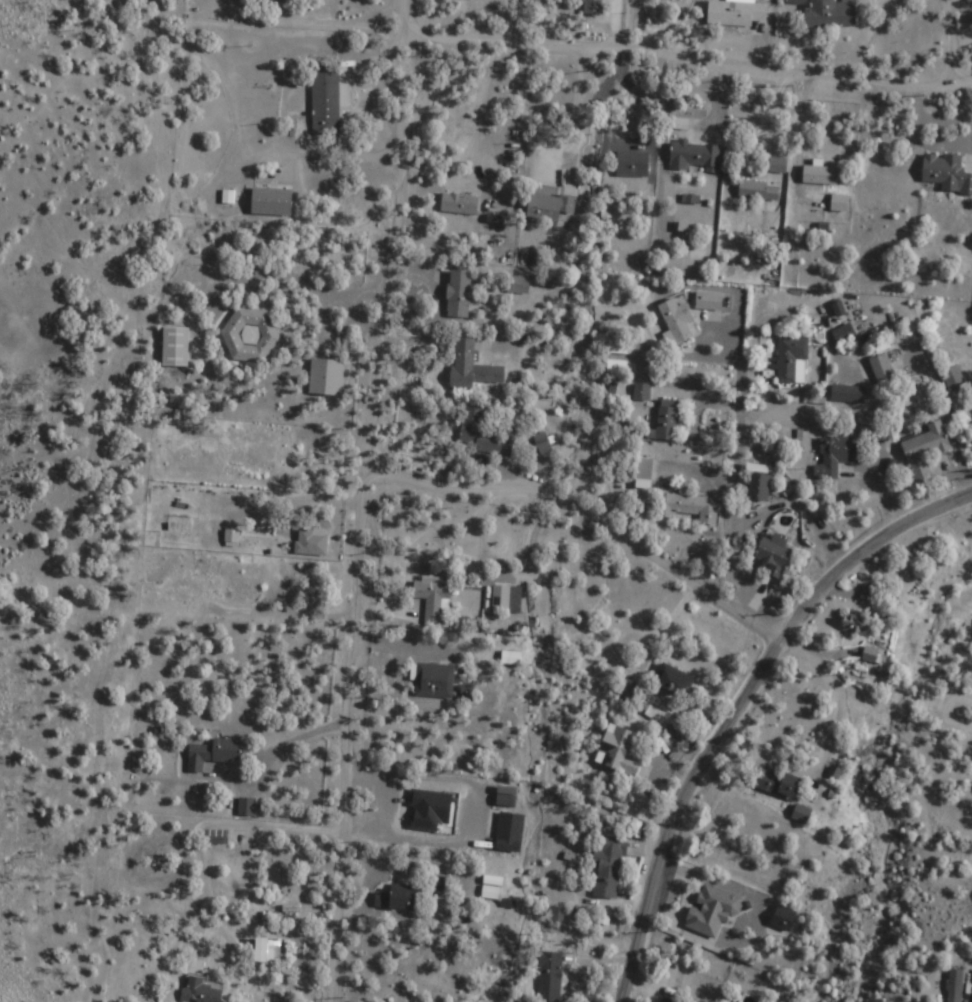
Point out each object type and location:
building: (794, 1)
building: (593, 6)
building: (735, 13)
building: (830, 13)
road: (953, 38)
road: (694, 58)
building: (324, 99)
building: (693, 157)
building: (631, 164)
building: (777, 165)
building: (946, 173)
building: (819, 174)
building: (757, 192)
building: (270, 201)
building: (838, 203)
building: (459, 204)
building: (548, 207)
building: (514, 288)
building: (458, 294)
building: (708, 301)
building: (676, 322)
building: (843, 334)
building: (249, 335)
building: (175, 346)
building: (791, 359)
building: (470, 367)
building: (882, 370)
building: (325, 377)
building: (641, 392)
building: (847, 393)
building: (667, 420)
building: (485, 433)
building: (923, 449)
building: (250, 453)
building: (832, 457)
building: (642, 474)
building: (192, 476)
building: (757, 488)
road: (362, 489)
road: (588, 510)
building: (691, 510)
building: (188, 537)
building: (232, 538)
building: (309, 541)
building: (772, 556)
building: (151, 571)
building: (241, 584)
building: (181, 594)
building: (434, 600)
building: (505, 600)
building: (856, 625)
building: (869, 655)
building: (433, 681)
building: (673, 681)
road: (742, 708)
road: (969, 726)
building: (618, 751)
building: (212, 753)
building: (776, 785)
building: (245, 806)
building: (437, 814)
building: (800, 815)
building: (509, 833)
building: (608, 862)
building: (398, 898)
building: (711, 912)
building: (267, 951)
building: (549, 977)
building: (955, 986)
building: (197, 989)
building: (666, 1001)

